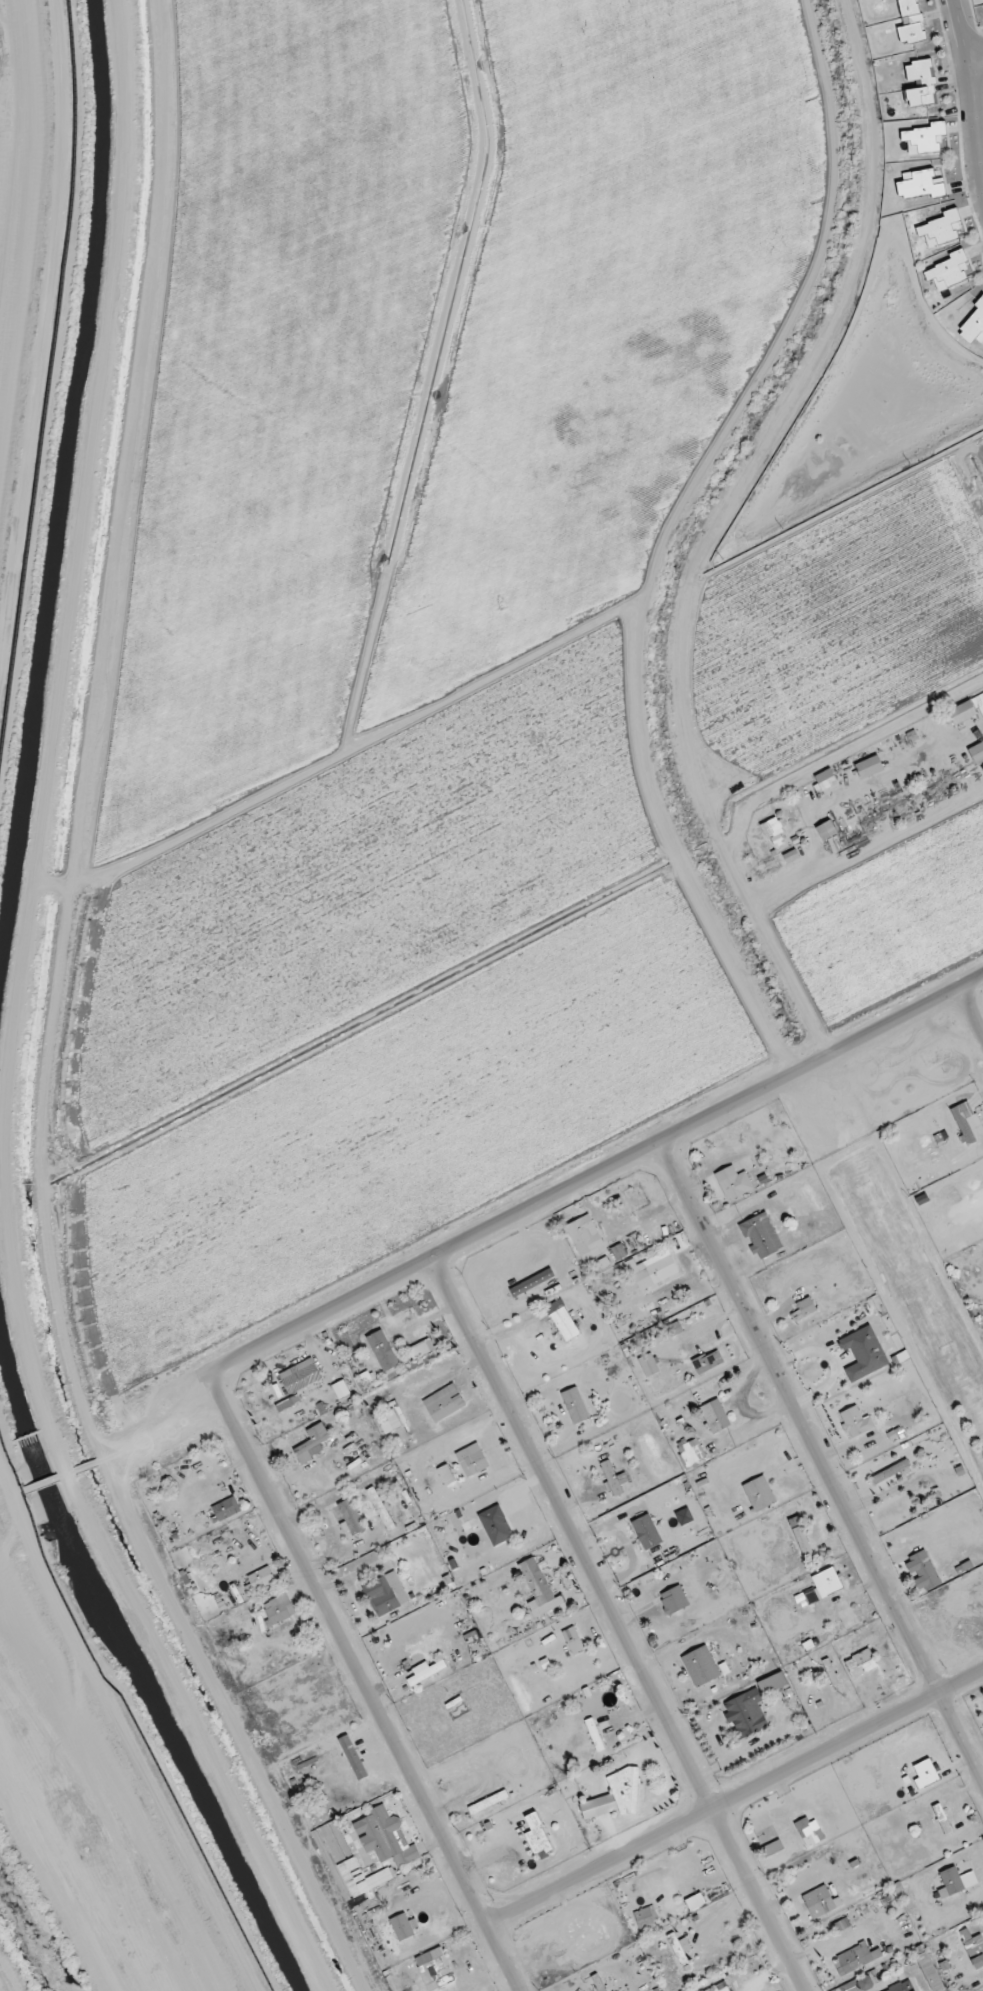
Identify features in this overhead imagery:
building: (911, 22)
road: (968, 52)
road: (957, 53)
road: (970, 57)
building: (921, 83)
road: (974, 157)
building: (967, 709)
building: (977, 751)
building: (869, 766)
building: (826, 778)
building: (773, 829)
building: (827, 829)
road: (972, 1008)
building: (965, 1121)
road: (598, 1178)
building: (734, 1182)
building: (761, 1236)
building: (586, 1237)
building: (659, 1267)
building: (538, 1287)
park: (911, 1288)
building: (805, 1308)
building: (563, 1320)
building: (383, 1350)
building: (864, 1352)
building: (707, 1360)
building: (649, 1364)
building: (300, 1375)
building: (444, 1402)
building: (575, 1404)
building: (289, 1406)
building: (713, 1416)
building: (389, 1420)
building: (855, 1422)
building: (314, 1442)
building: (689, 1451)
building: (473, 1457)
road: (822, 1463)
building: (891, 1472)
building: (611, 1477)
building: (759, 1493)
building: (225, 1508)
building: (382, 1508)
building: (352, 1515)
building: (647, 1531)
building: (803, 1541)
building: (922, 1570)
building: (824, 1585)
building: (539, 1588)
building: (386, 1593)
building: (278, 1609)
road: (619, 1625)
building: (573, 1640)
building: (861, 1662)
building: (701, 1666)
building: (426, 1670)
road: (366, 1686)
building: (752, 1700)
building: (595, 1734)
building: (614, 1796)
road: (736, 1798)
building: (489, 1801)
building: (942, 1818)
building: (809, 1830)
building: (537, 1834)
building: (386, 1836)
building: (331, 1842)
building: (956, 1880)
building: (819, 1901)
building: (644, 1917)
building: (402, 1926)
river: (31, 1931)
building: (973, 1946)
building: (680, 1947)
building: (853, 1959)
building: (434, 1969)
building: (902, 1986)
building: (719, 1987)

